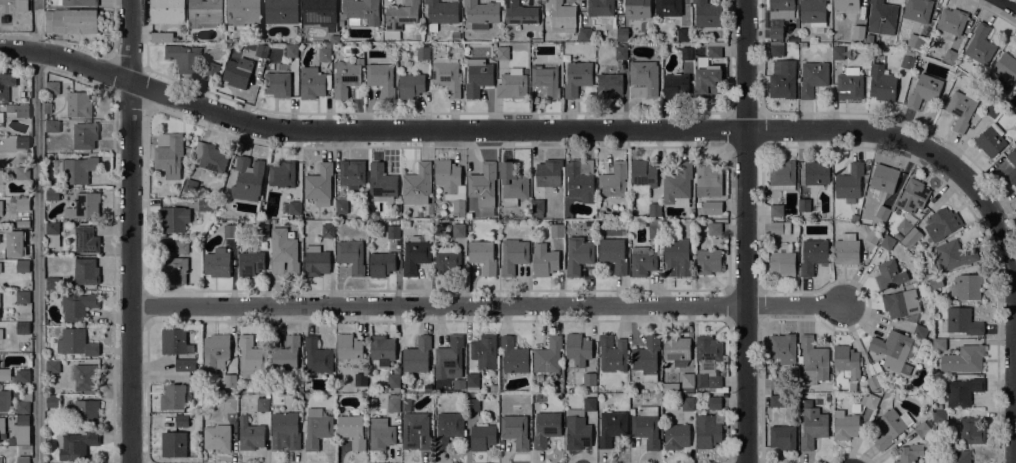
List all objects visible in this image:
building: (5, 0)
building: (77, 2)
road: (1010, 3)
building: (846, 5)
building: (599, 7)
building: (667, 7)
building: (636, 9)
building: (778, 10)
building: (917, 10)
building: (167, 11)
building: (242, 11)
building: (281, 11)
building: (360, 11)
building: (812, 12)
building: (204, 13)
building: (319, 13)
building: (441, 13)
building: (520, 13)
building: (707, 13)
building: (481, 14)
building: (561, 16)
building: (882, 17)
building: (399, 18)
building: (70, 21)
building: (951, 22)
building: (857, 32)
building: (776, 33)
building: (585, 34)
building: (621, 34)
building: (682, 34)
building: (162, 37)
building: (917, 42)
building: (802, 44)
building: (978, 47)
building: (261, 50)
building: (291, 50)
building: (775, 50)
building: (620, 52)
building: (423, 53)
building: (502, 53)
building: (686, 53)
building: (837, 53)
building: (324, 54)
building: (949, 56)
building: (184, 58)
building: (906, 61)
building: (327, 66)
building: (211, 69)
building: (1005, 70)
building: (237, 72)
building: (708, 72)
building: (345, 77)
building: (446, 77)
building: (477, 77)
building: (577, 77)
building: (812, 77)
building: (381, 79)
building: (643, 79)
building: (782, 79)
building: (544, 81)
building: (313, 83)
building: (910, 83)
building: (278, 84)
building: (849, 84)
building: (882, 84)
building: (6, 85)
building: (512, 85)
building: (609, 85)
building: (674, 85)
building: (410, 86)
building: (52, 88)
building: (1015, 90)
building: (923, 91)
building: (78, 105)
building: (47, 107)
building: (19, 109)
building: (961, 109)
building: (993, 110)
building: (1, 119)
building: (51, 126)
road: (365, 132)
building: (84, 135)
building: (990, 140)
building: (22, 142)
building: (170, 157)
building: (210, 157)
building: (1013, 162)
building: (79, 169)
building: (22, 173)
building: (351, 173)
building: (548, 173)
building: (643, 173)
building: (817, 173)
building: (282, 174)
building: (782, 175)
building: (1, 177)
building: (247, 179)
building: (613, 180)
building: (708, 180)
building: (883, 180)
building: (381, 181)
building: (483, 183)
building: (578, 183)
building: (849, 183)
building: (319, 184)
building: (450, 184)
building: (512, 184)
building: (417, 185)
building: (678, 185)
building: (190, 186)
building: (53, 193)
building: (912, 196)
building: (12, 200)
building: (22, 203)
building: (804, 204)
road: (984, 204)
building: (204, 205)
building: (539, 205)
building: (84, 206)
building: (341, 206)
building: (0, 207)
building: (295, 207)
building: (610, 207)
building: (654, 209)
building: (714, 209)
building: (776, 210)
building: (882, 212)
building: (174, 218)
building: (853, 218)
building: (22, 223)
building: (942, 224)
building: (904, 226)
building: (779, 227)
building: (52, 228)
building: (714, 228)
building: (327, 229)
building: (654, 229)
building: (230, 230)
building: (262, 230)
building: (458, 230)
building: (556, 230)
road: (129, 231)
building: (393, 231)
road: (745, 231)
building: (22, 235)
building: (873, 236)
building: (898, 236)
building: (911, 237)
building: (85, 239)
building: (887, 242)
building: (184, 246)
building: (846, 249)
building: (22, 252)
building: (283, 252)
building: (578, 254)
building: (613, 254)
building: (415, 255)
building: (513, 255)
building: (678, 255)
building: (813, 255)
building: (953, 255)
building: (350, 256)
building: (482, 256)
road: (38, 257)
building: (544, 260)
building: (315, 261)
building: (447, 261)
building: (642, 261)
building: (708, 261)
building: (783, 261)
building: (250, 262)
building: (217, 263)
building: (381, 263)
building: (22, 266)
building: (0, 269)
building: (174, 270)
building: (86, 271)
building: (887, 274)
building: (930, 274)
building: (51, 282)
building: (935, 283)
building: (966, 287)
building: (22, 297)
building: (900, 303)
road: (488, 305)
building: (78, 306)
building: (962, 321)
building: (22, 328)
building: (919, 331)
building: (1, 334)
building: (76, 342)
building: (174, 342)
building: (938, 344)
building: (782, 348)
building: (348, 349)
building: (577, 349)
building: (676, 349)
building: (894, 349)
building: (381, 350)
building: (484, 351)
building: (708, 351)
building: (215, 352)
building: (285, 353)
building: (612, 353)
building: (417, 355)
building: (513, 355)
building: (316, 356)
building: (547, 356)
building: (252, 358)
building: (449, 358)
building: (646, 358)
building: (963, 359)
building: (847, 360)
building: (813, 361)
building: (185, 365)
building: (52, 366)
building: (877, 366)
building: (4, 374)
building: (20, 376)
building: (86, 377)
building: (360, 379)
building: (588, 379)
building: (230, 380)
building: (714, 381)
building: (472, 382)
building: (687, 382)
building: (872, 382)
building: (393, 383)
building: (775, 383)
building: (459, 384)
building: (851, 387)
building: (493, 388)
building: (239, 389)
building: (962, 392)
building: (181, 393)
building: (279, 399)
building: (380, 400)
building: (776, 400)
building: (869, 400)
building: (23, 401)
building: (52, 401)
building: (714, 402)
building: (393, 403)
building: (229, 404)
building: (262, 404)
building: (472, 404)
building: (687, 404)
building: (631, 411)
building: (85, 412)
building: (939, 416)
building: (181, 420)
building: (2, 425)
building: (845, 425)
building: (579, 426)
building: (646, 426)
building: (21, 427)
building: (611, 427)
building: (812, 427)
building: (890, 427)
building: (286, 428)
building: (316, 428)
building: (448, 428)
building: (545, 429)
building: (922, 429)
building: (353, 430)
building: (515, 430)
building: (708, 430)
building: (415, 431)
building: (967, 431)
building: (380, 434)
building: (250, 435)
building: (676, 436)
building: (482, 437)
building: (782, 437)
building: (217, 438)
building: (173, 444)
building: (76, 445)
building: (909, 453)
building: (958, 456)
building: (22, 459)
building: (1, 460)

